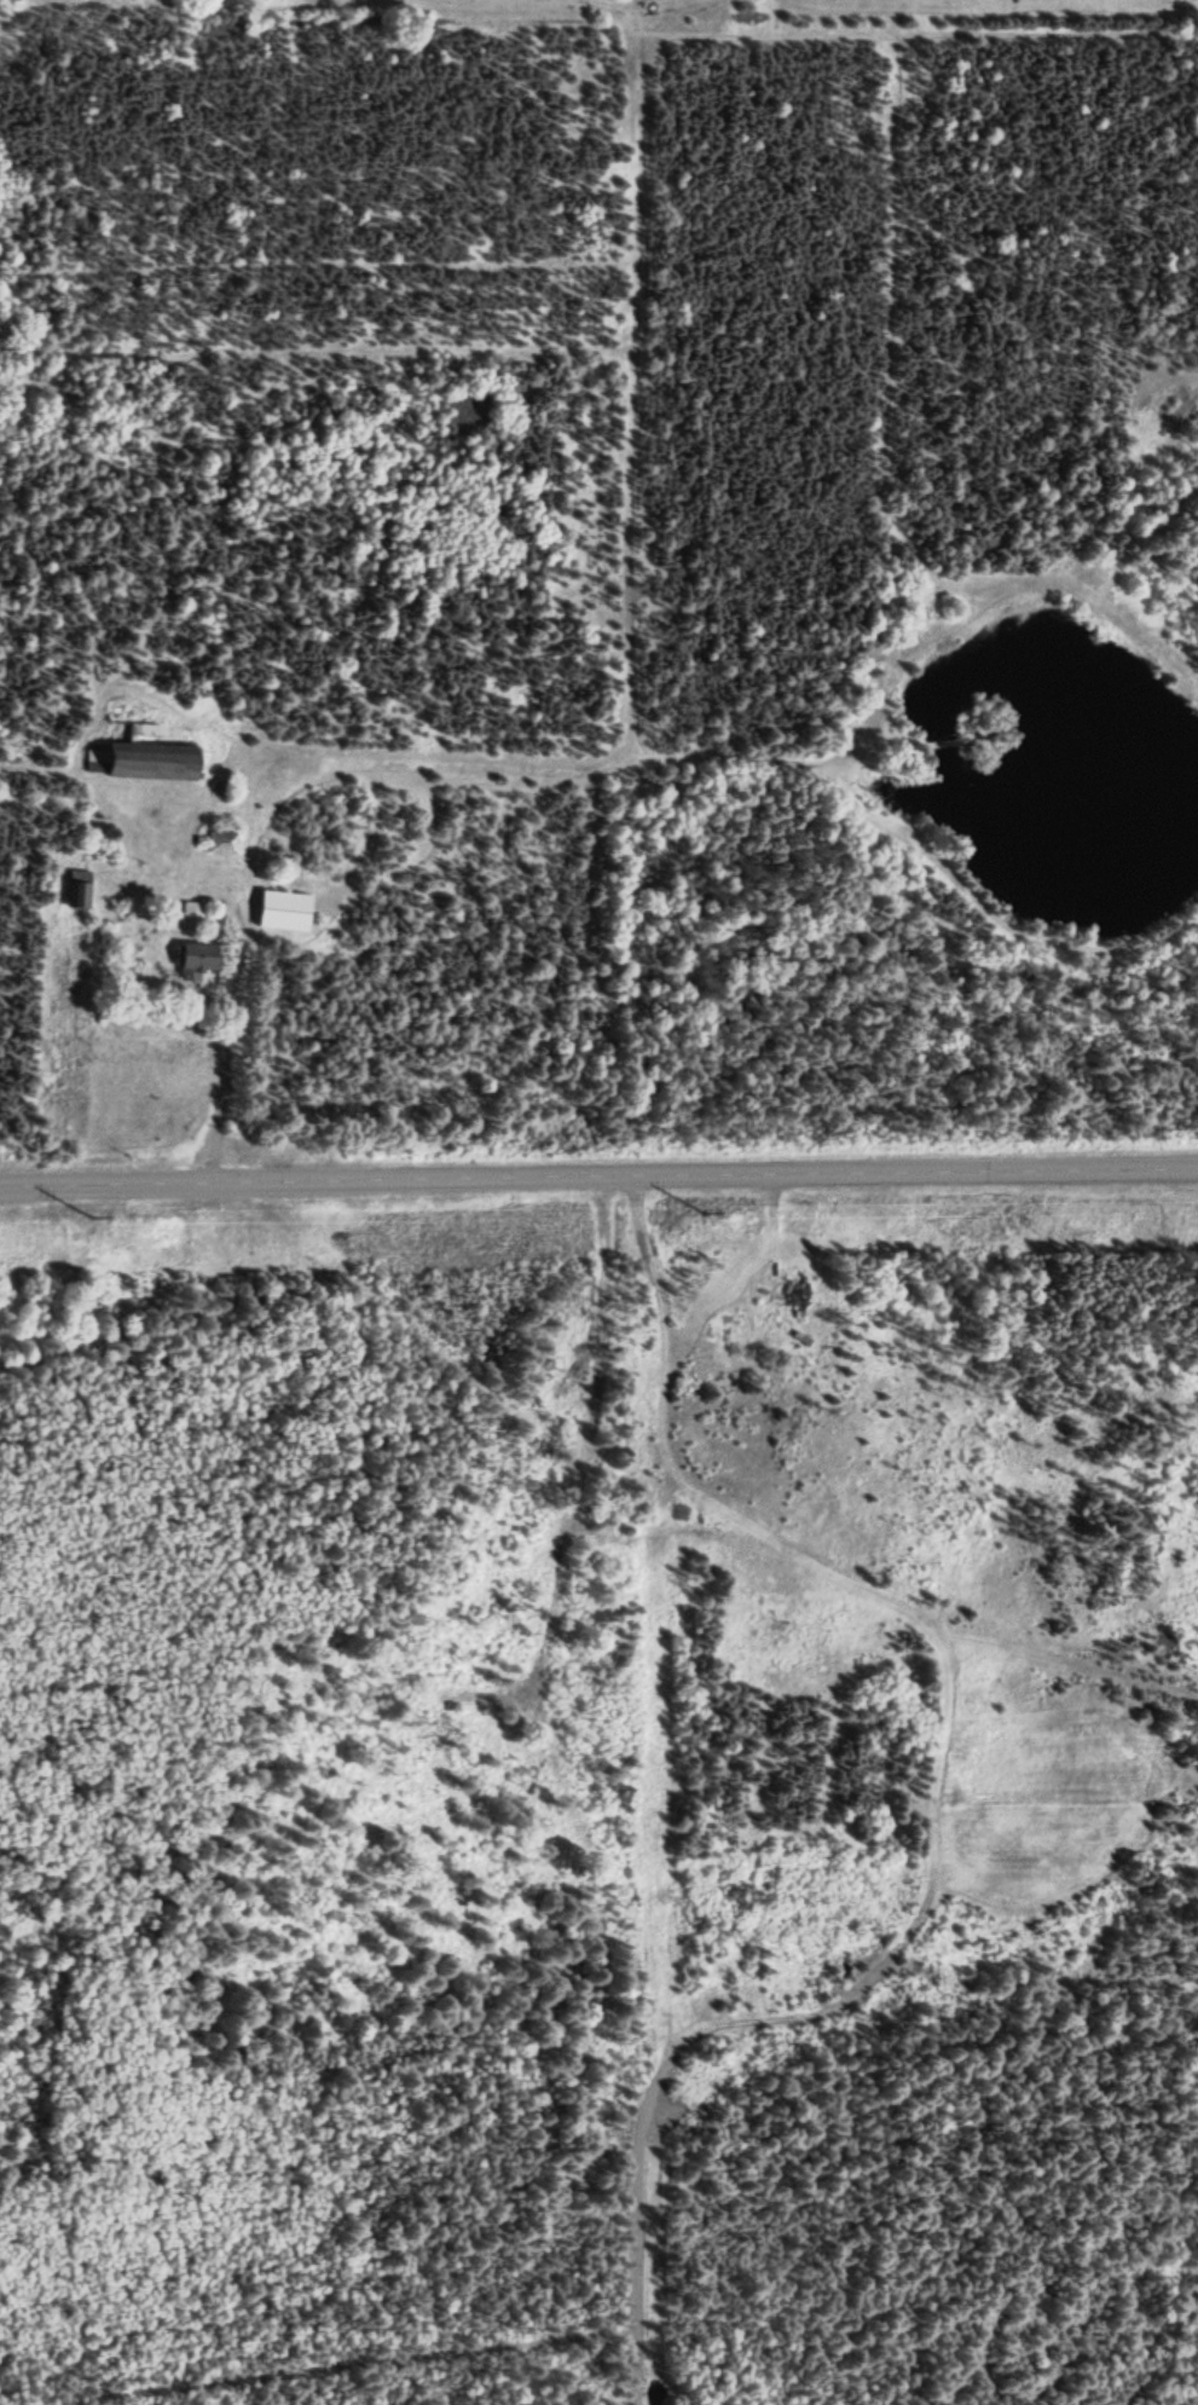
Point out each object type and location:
building: (141, 755)
building: (80, 896)
building: (284, 912)
building: (196, 961)
road: (598, 1175)
building: (793, 1294)
road: (959, 1785)

